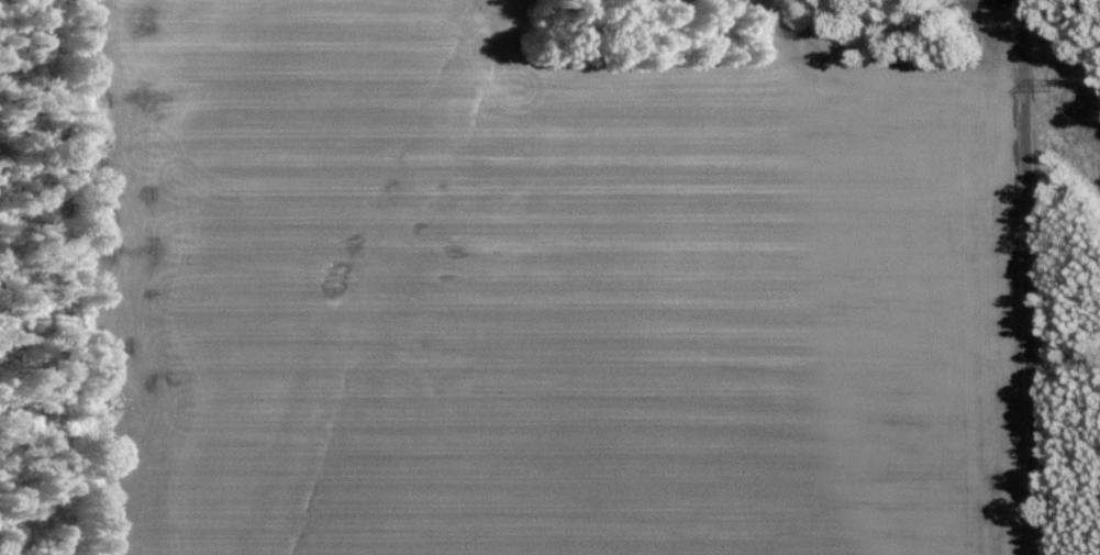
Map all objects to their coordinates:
road: (1031, 277)

